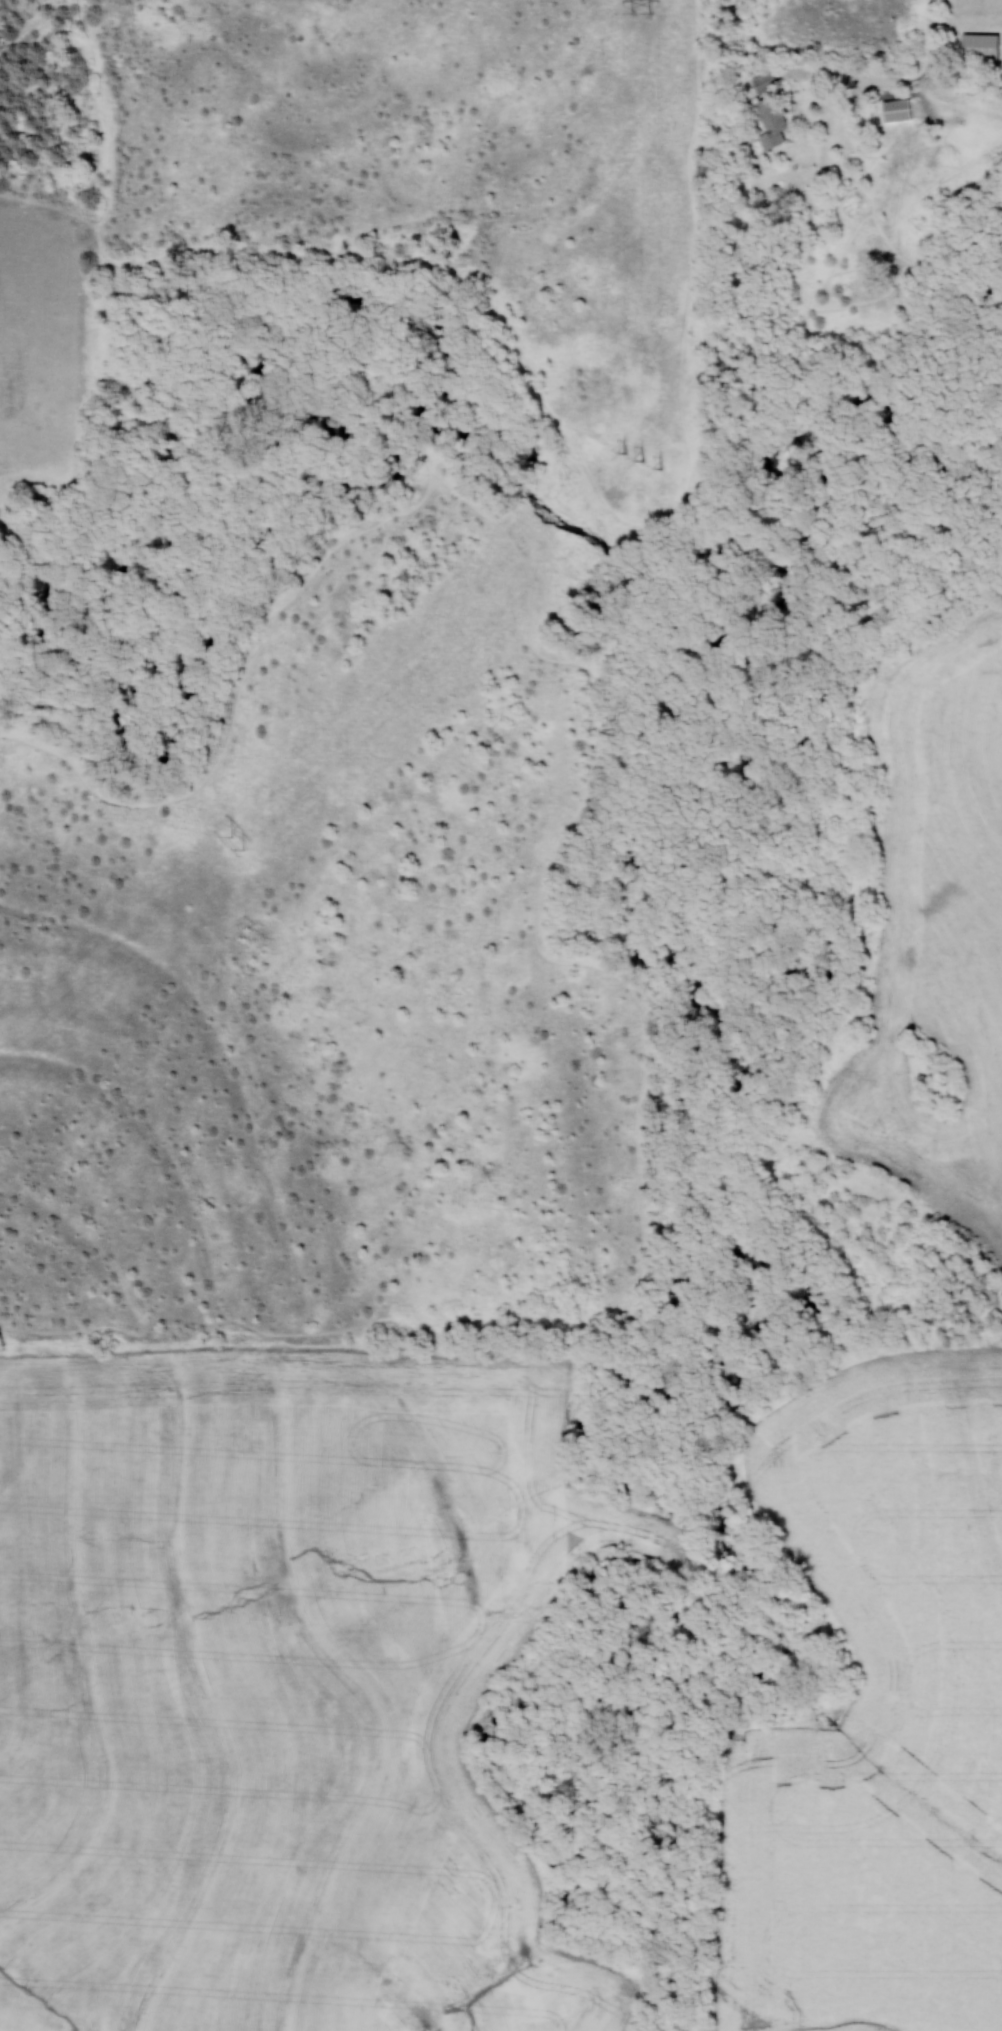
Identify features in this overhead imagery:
power tower: (648, 13)
building: (979, 46)
building: (764, 82)
road: (900, 84)
building: (771, 121)
power tower: (649, 459)
power tower: (244, 846)
crop: (279, 1688)
crop: (877, 1712)

